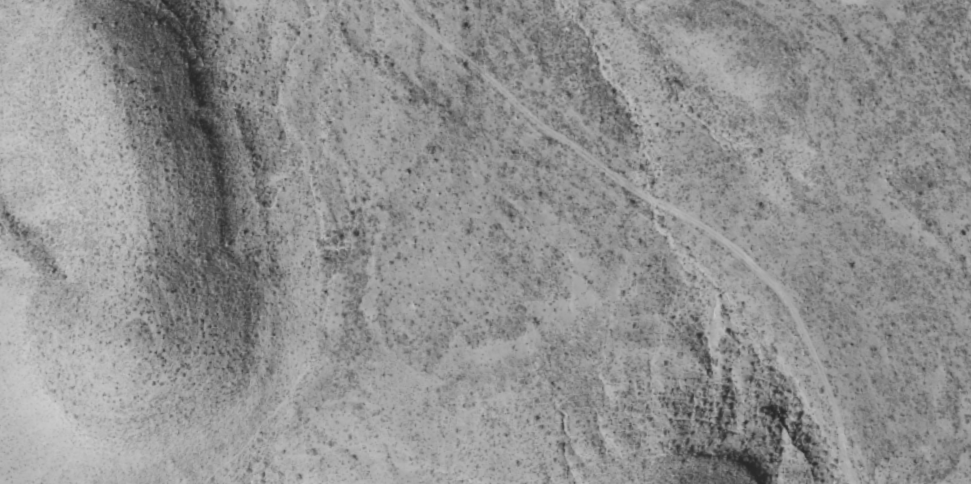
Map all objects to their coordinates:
road: (685, 211)

